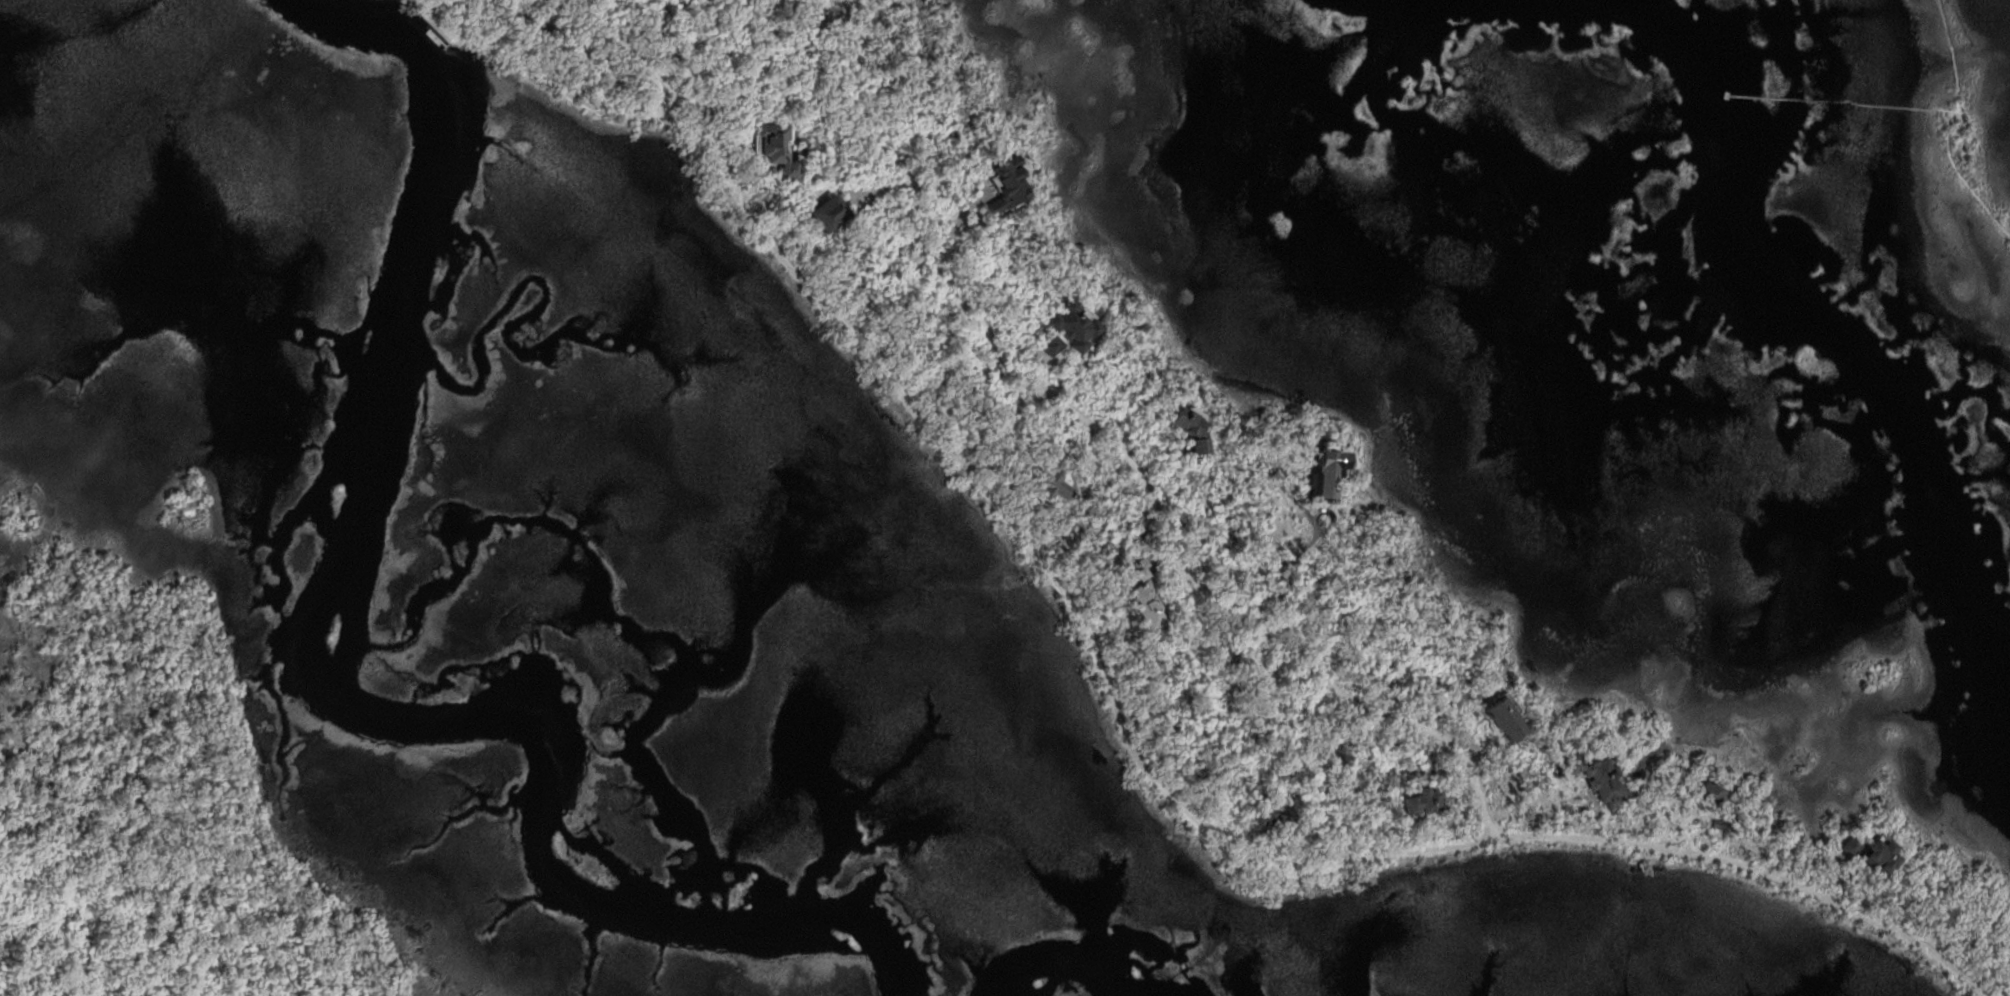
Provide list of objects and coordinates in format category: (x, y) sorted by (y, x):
road: (597, 111)
building: (770, 149)
building: (1067, 327)
building: (1043, 348)
building: (1183, 428)
road: (1102, 436)
building: (1055, 458)
building: (1322, 475)
building: (1050, 487)
building: (1137, 603)
building: (1500, 720)
road: (1123, 729)
building: (1409, 774)
building: (1599, 780)
building: (1711, 796)
building: (1420, 803)
building: (1270, 817)
building: (1717, 825)
building: (1850, 847)
building: (1877, 858)
building: (1947, 918)
road: (139, 949)

